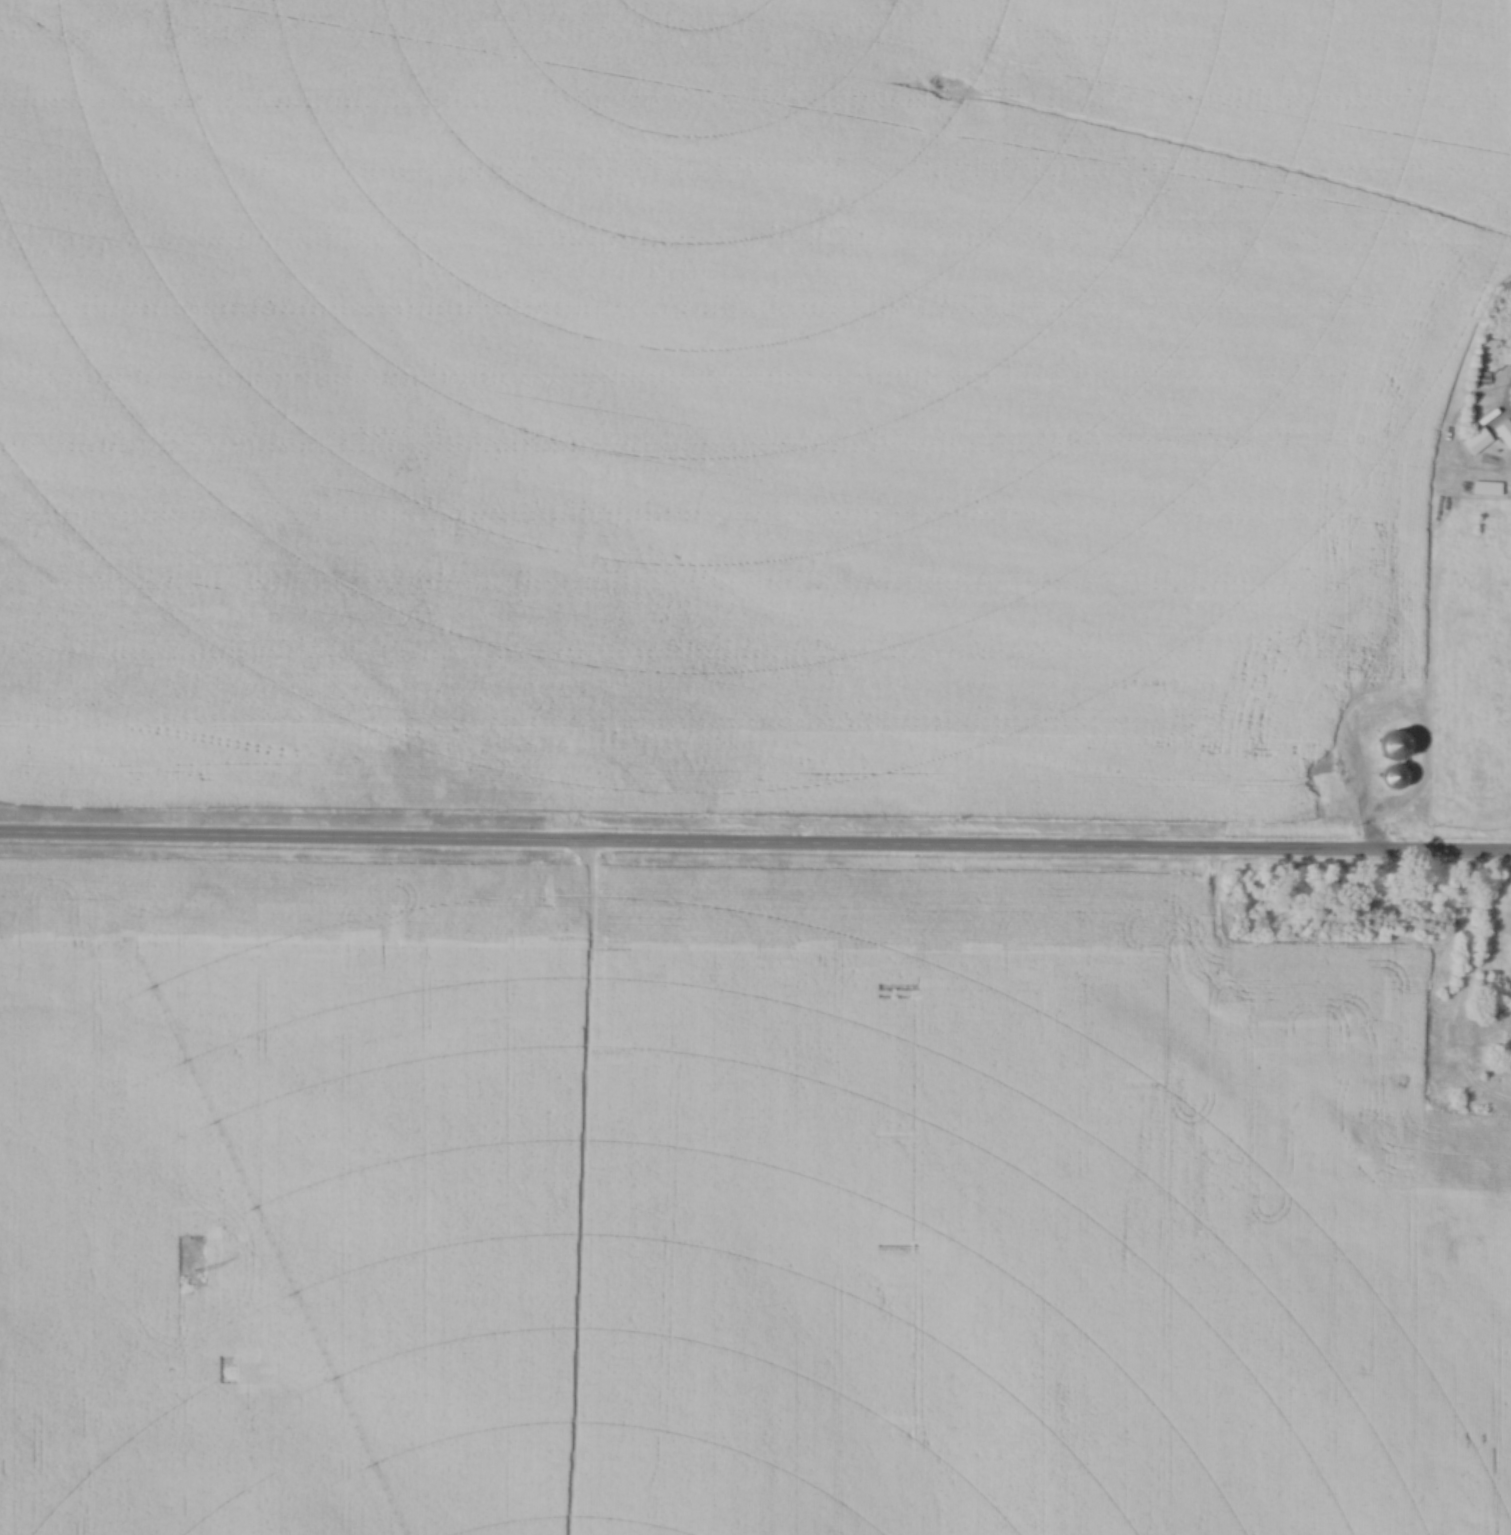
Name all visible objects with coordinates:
building: (1504, 354)
building: (1502, 432)
building: (1472, 440)
building: (1388, 744)
building: (1389, 777)
road: (755, 848)
road: (1465, 944)
building: (1499, 1018)
building: (1414, 1085)
power tower: (191, 1276)

